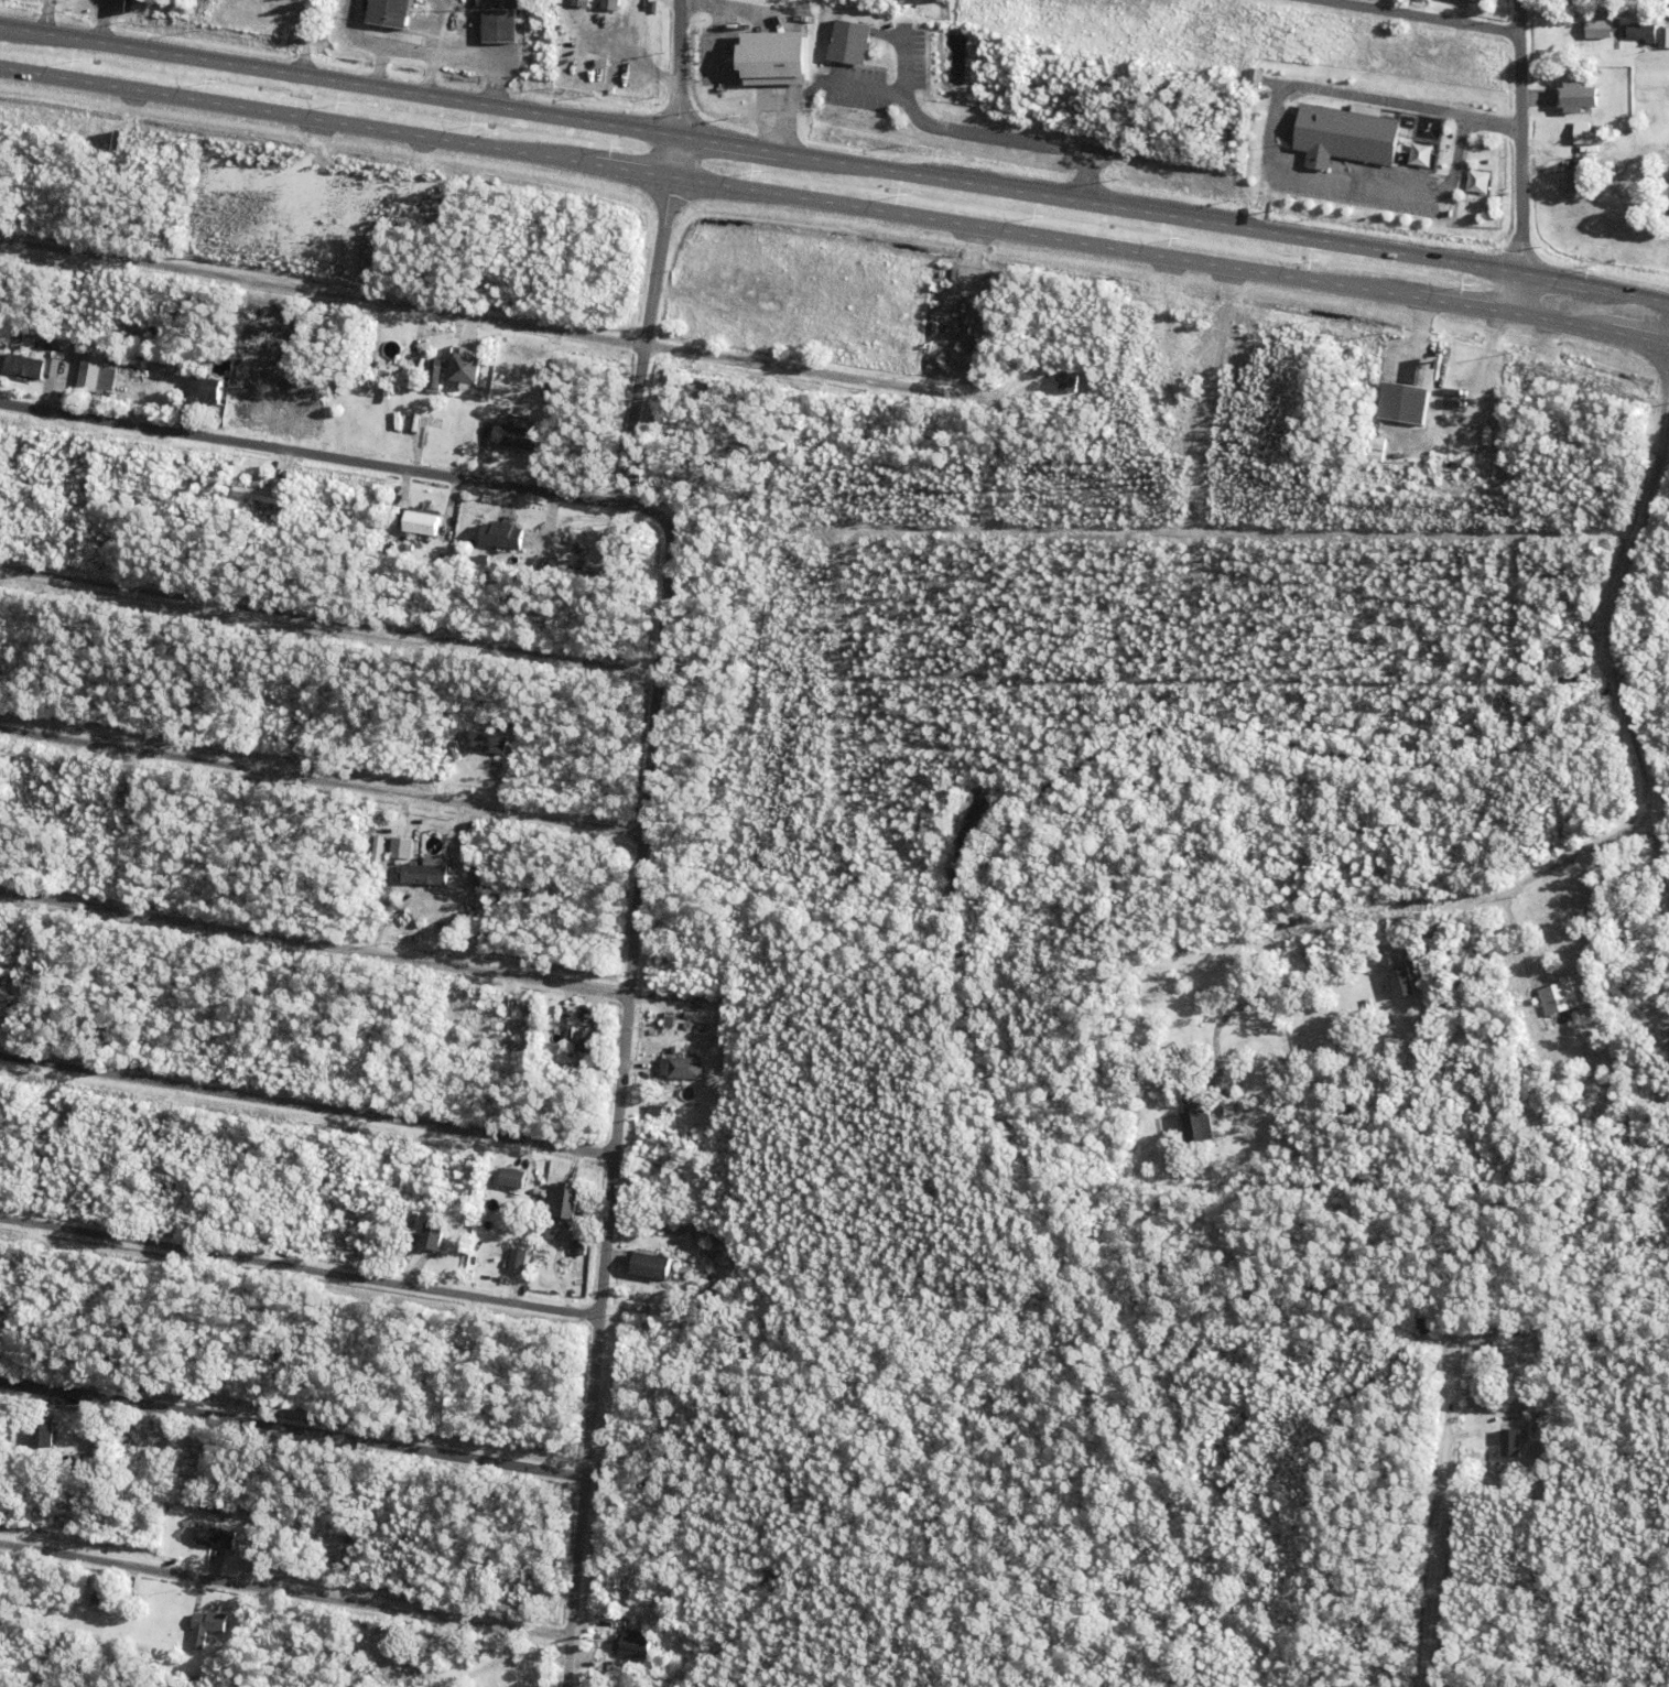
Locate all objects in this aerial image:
building: (1481, 0)
building: (582, 4)
building: (613, 6)
building: (1636, 11)
building: (388, 12)
road: (1404, 19)
building: (502, 29)
building: (1597, 29)
building: (1644, 34)
building: (1663, 40)
building: (849, 41)
building: (771, 57)
building: (1254, 76)
building: (1576, 97)
building: (1427, 127)
building: (1585, 133)
building: (1346, 138)
building: (1585, 147)
building: (1420, 154)
road: (1521, 156)
road: (838, 162)
building: (1585, 172)
building: (1477, 182)
road: (834, 203)
road: (662, 253)
road: (506, 325)
building: (961, 332)
building: (41, 347)
building: (979, 348)
building: (53, 352)
building: (412, 352)
building: (437, 352)
building: (464, 365)
building: (438, 366)
building: (26, 369)
building: (93, 375)
building: (1069, 382)
building: (702, 393)
building: (213, 394)
building: (387, 396)
building: (1406, 408)
building: (441, 417)
building: (518, 441)
road: (311, 455)
building: (776, 459)
building: (71, 471)
building: (198, 484)
building: (154, 488)
building: (739, 494)
building: (261, 498)
building: (424, 528)
building: (579, 530)
building: (506, 540)
building: (572, 574)
road: (333, 620)
road: (1607, 640)
building: (299, 722)
building: (489, 746)
road: (325, 781)
building: (400, 847)
road: (1562, 866)
building: (1370, 874)
building: (430, 876)
building: (1575, 904)
building: (381, 916)
building: (1591, 916)
road: (317, 947)
building: (1502, 976)
building: (1387, 986)
building: (675, 988)
building: (1406, 990)
building: (1379, 991)
building: (1560, 1003)
building: (1179, 1006)
building: (671, 1008)
building: (587, 1039)
building: (1228, 1039)
building: (657, 1055)
building: (685, 1066)
road: (627, 1079)
road: (310, 1104)
building: (660, 1110)
building: (1196, 1124)
building: (1206, 1137)
building: (665, 1170)
building: (512, 1178)
building: (661, 1193)
building: (683, 1193)
building: (574, 1197)
building: (457, 1201)
building: (576, 1212)
building: (426, 1228)
building: (531, 1228)
building: (693, 1230)
building: (669, 1232)
building: (552, 1233)
building: (487, 1241)
building: (582, 1245)
building: (668, 1246)
building: (376, 1257)
building: (496, 1258)
building: (661, 1261)
building: (517, 1263)
building: (527, 1265)
building: (687, 1268)
road: (303, 1269)
building: (759, 1312)
building: (1423, 1326)
building: (1524, 1419)
road: (294, 1425)
building: (40, 1434)
building: (127, 1441)
building: (1513, 1441)
building: (93, 1442)
road: (1439, 1508)
building: (74, 1510)
building: (223, 1510)
building: (205, 1512)
building: (258, 1514)
building: (216, 1536)
building: (330, 1558)
building: (321, 1576)
building: (540, 1586)
road: (288, 1592)
building: (96, 1598)
building: (187, 1608)
building: (208, 1626)
building: (638, 1644)
building: (604, 1650)
building: (658, 1667)

